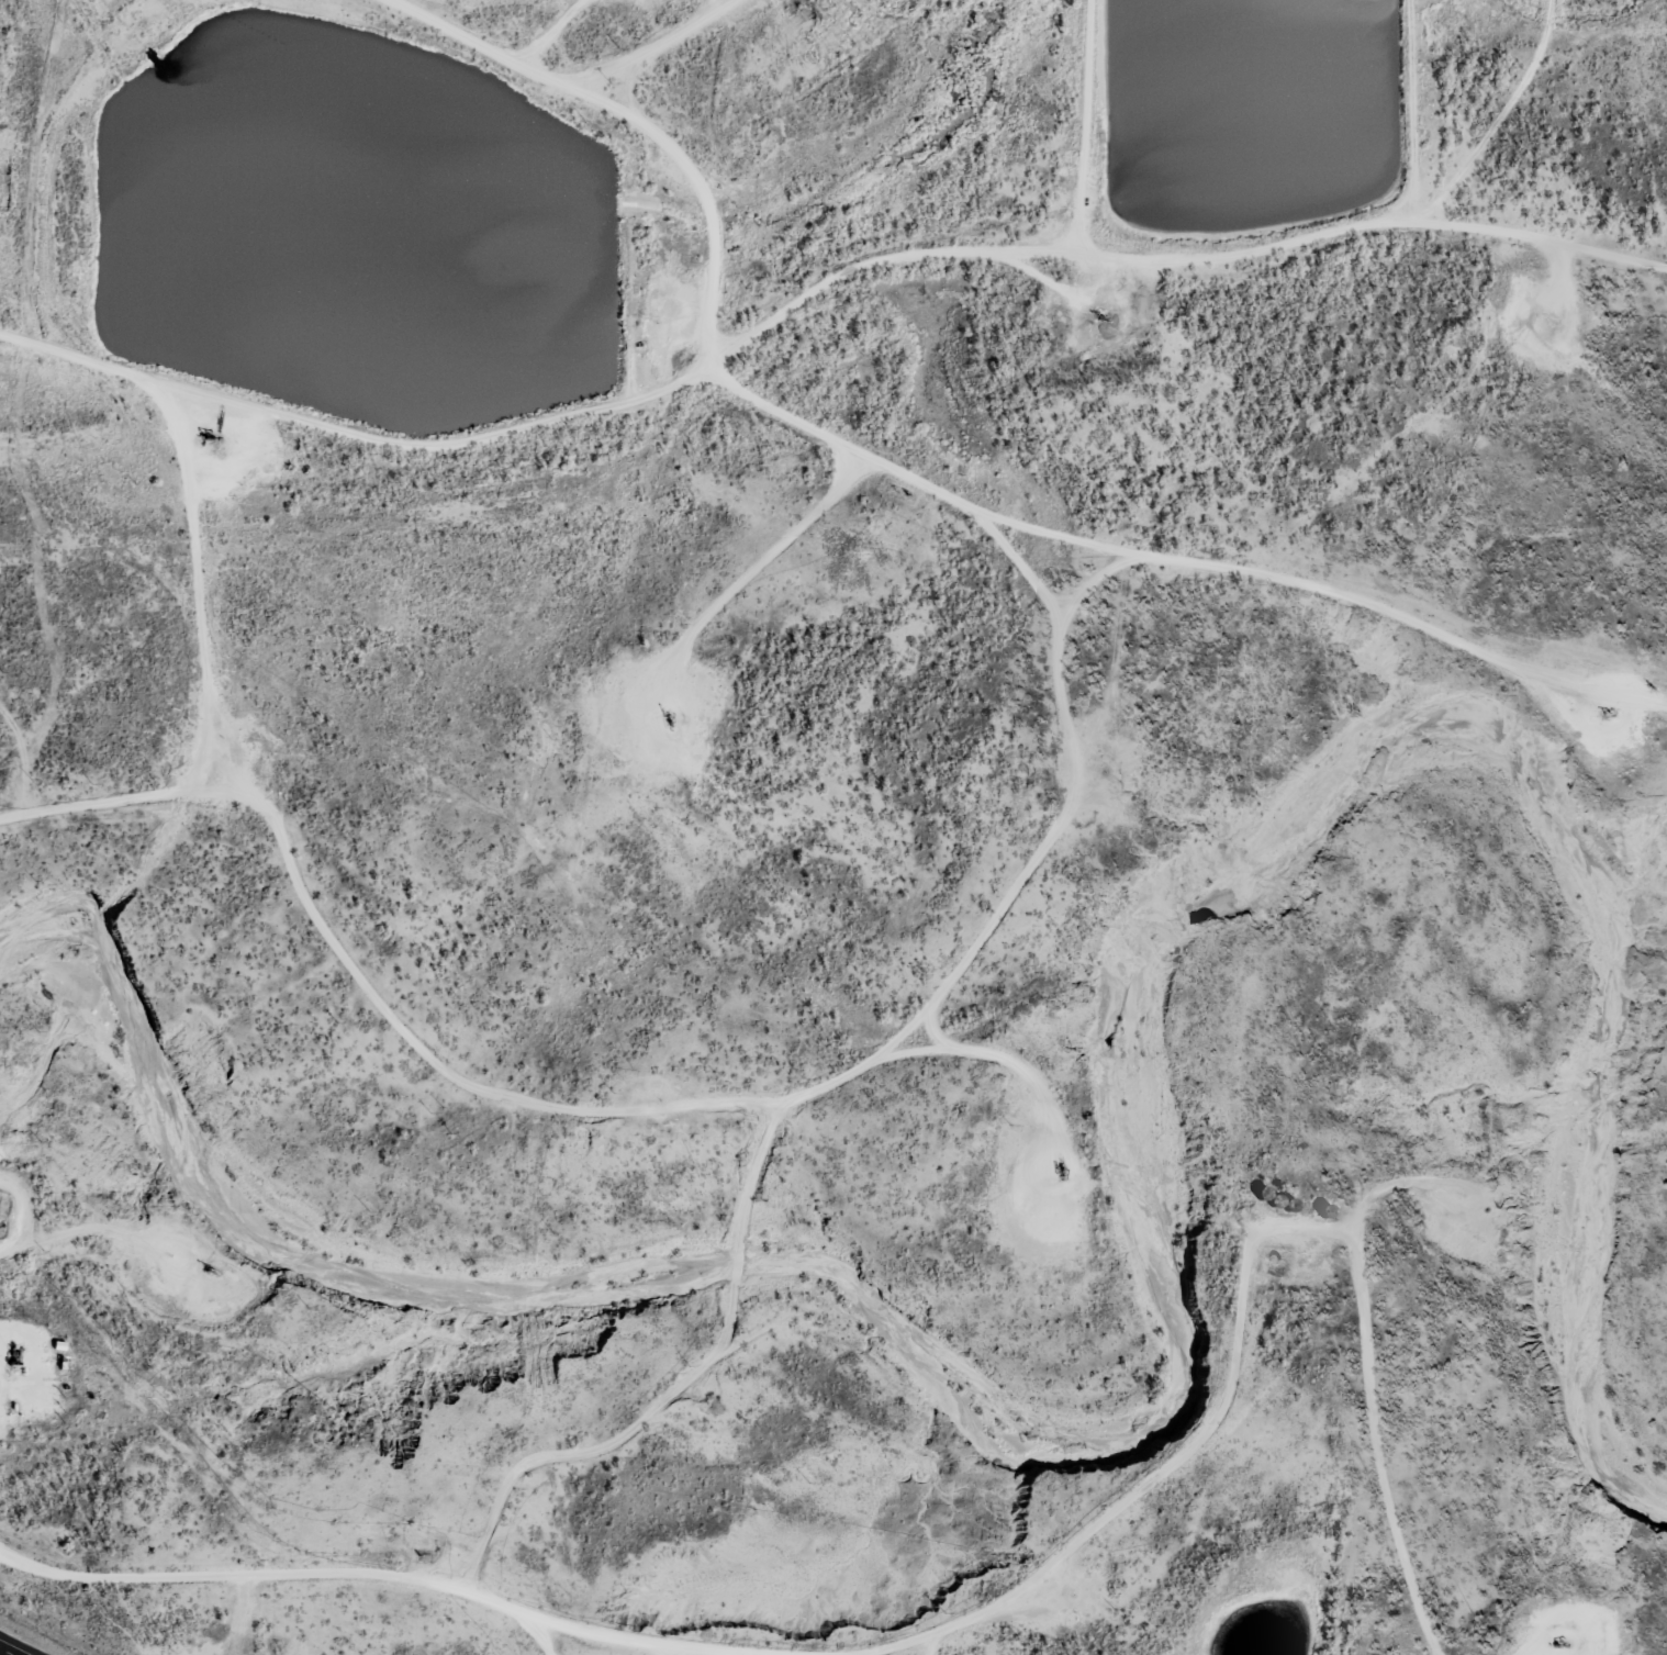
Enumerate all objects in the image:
road: (645, 46)
road: (631, 87)
road: (636, 120)
road: (1082, 126)
road: (816, 291)
road: (1177, 559)
road: (197, 574)
road: (1093, 582)
road: (686, 1107)
road: (754, 1172)
building: (1328, 1210)
road: (94, 1229)
road: (737, 1264)
road: (1243, 1276)
road: (601, 1447)
road: (392, 1574)
road: (544, 1637)
road: (930, 1643)
road: (7, 1651)
road: (665, 1651)

